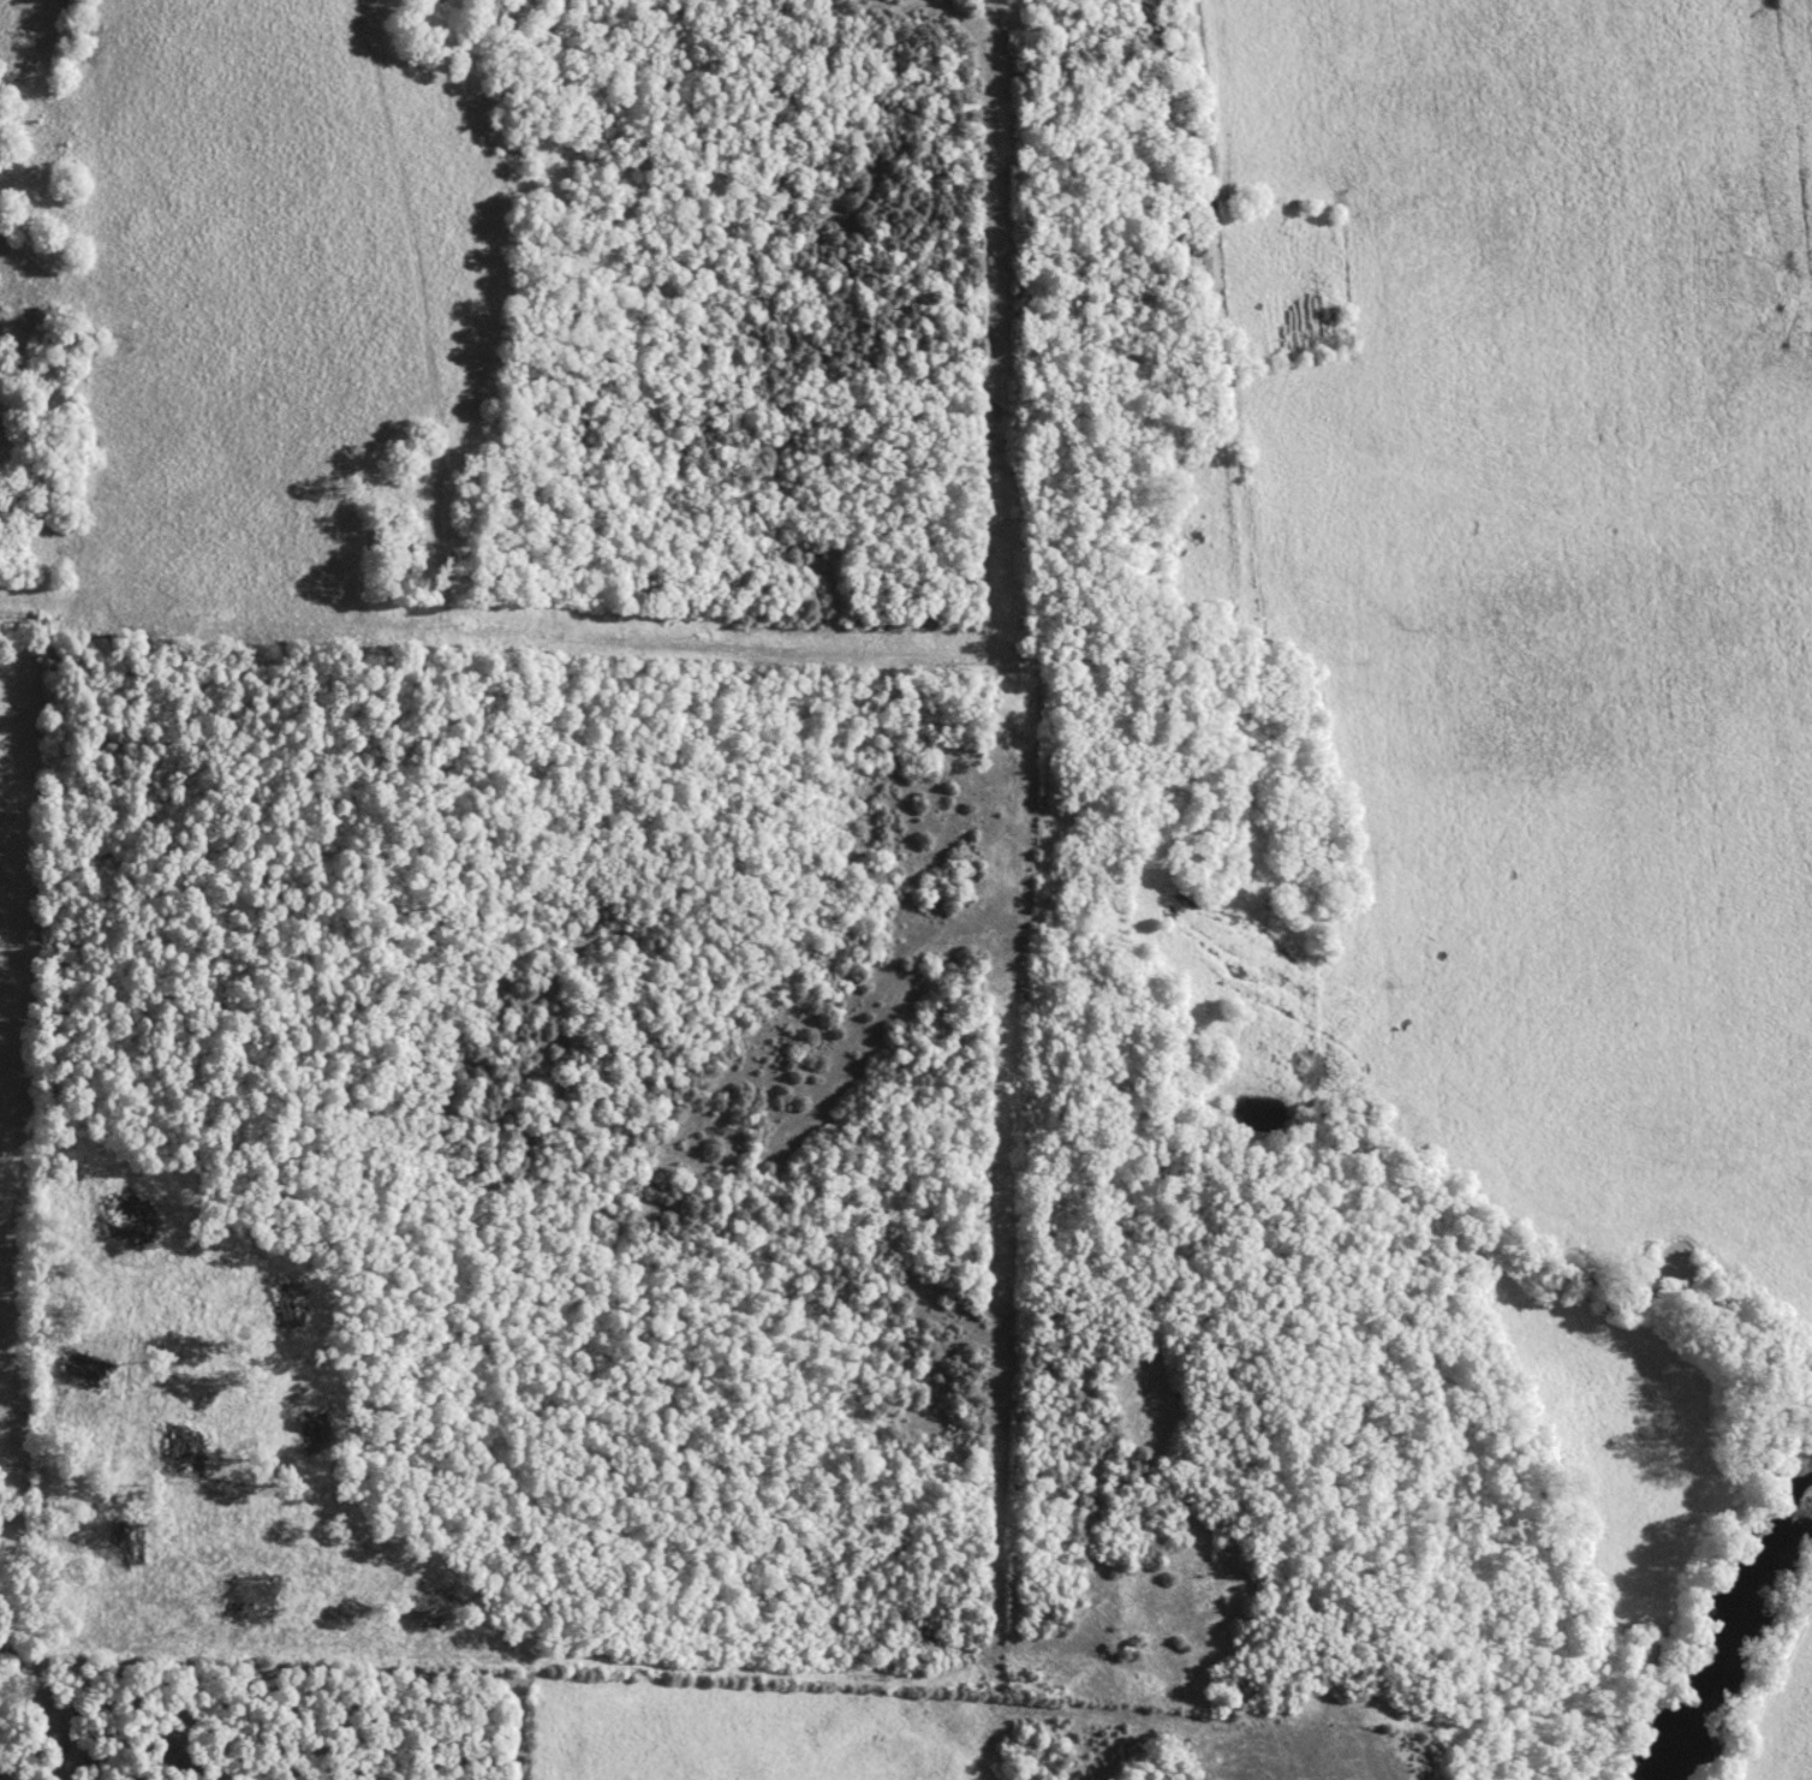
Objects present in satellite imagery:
road: (1220, 175)
river: (1711, 1614)
road: (65, 1755)
building: (55, 1758)

